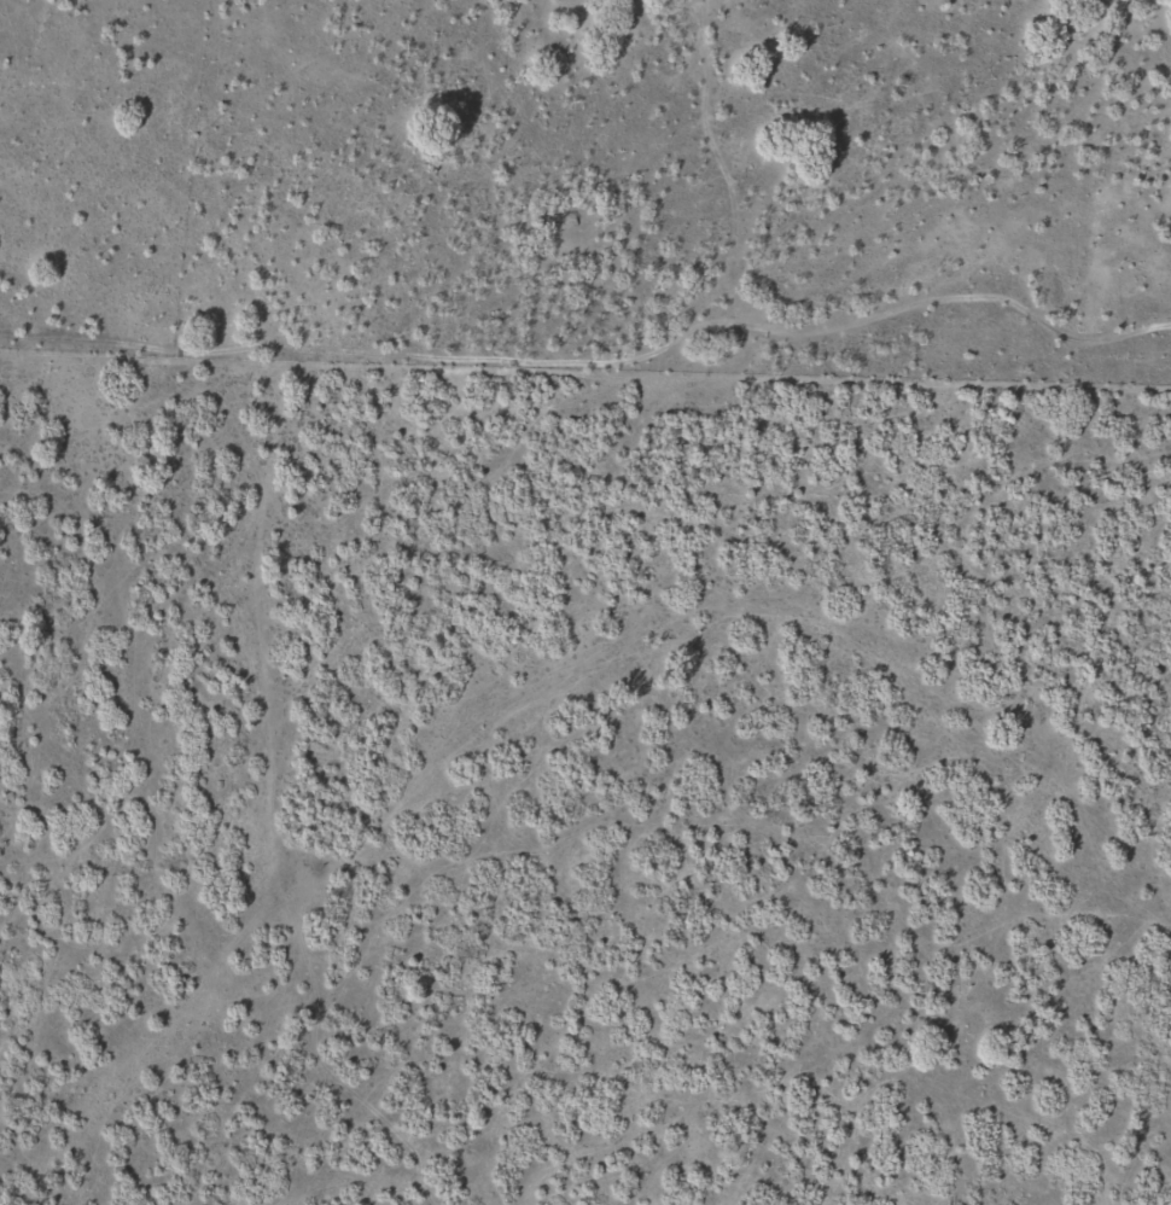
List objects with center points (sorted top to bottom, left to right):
building: (565, 220)

